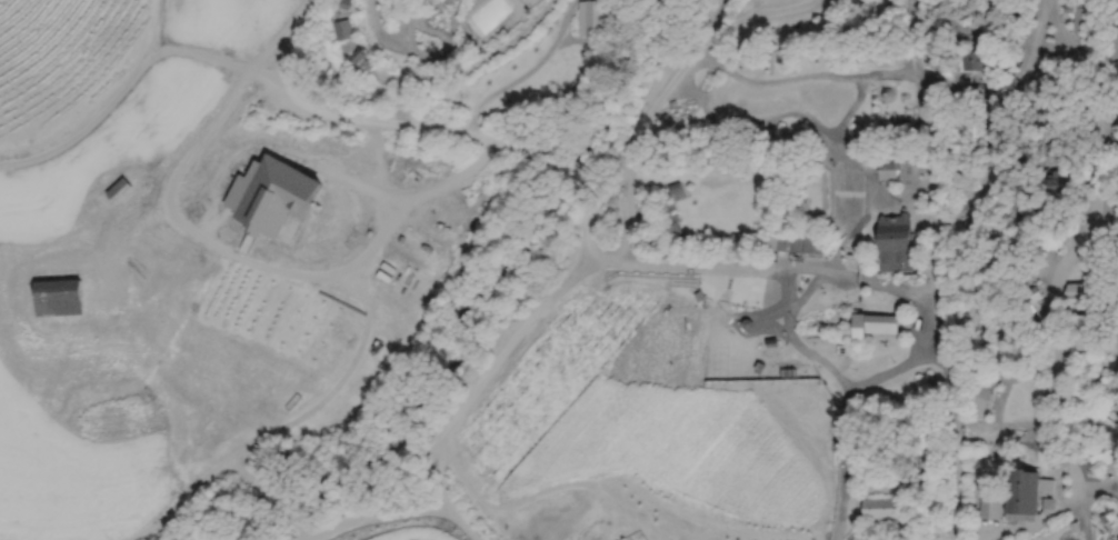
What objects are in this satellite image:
building: (345, 3)
building: (895, 4)
building: (1086, 14)
building: (998, 24)
road: (709, 26)
building: (345, 29)
building: (1111, 58)
building: (972, 60)
road: (777, 80)
building: (965, 129)
road: (823, 134)
road: (429, 136)
building: (896, 169)
road: (932, 186)
building: (1061, 194)
road: (870, 200)
building: (669, 230)
building: (792, 242)
building: (894, 243)
road: (257, 256)
road: (738, 269)
theme park: (559, 270)
road: (1032, 272)
road: (806, 291)
building: (1074, 291)
building: (874, 324)
building: (1086, 331)
road: (832, 367)
road: (472, 384)
building: (984, 398)
road: (950, 410)
crop: (615, 420)
building: (1102, 451)
road: (848, 458)
building: (1022, 491)
building: (877, 508)
crop: (795, 522)
building: (1117, 538)

